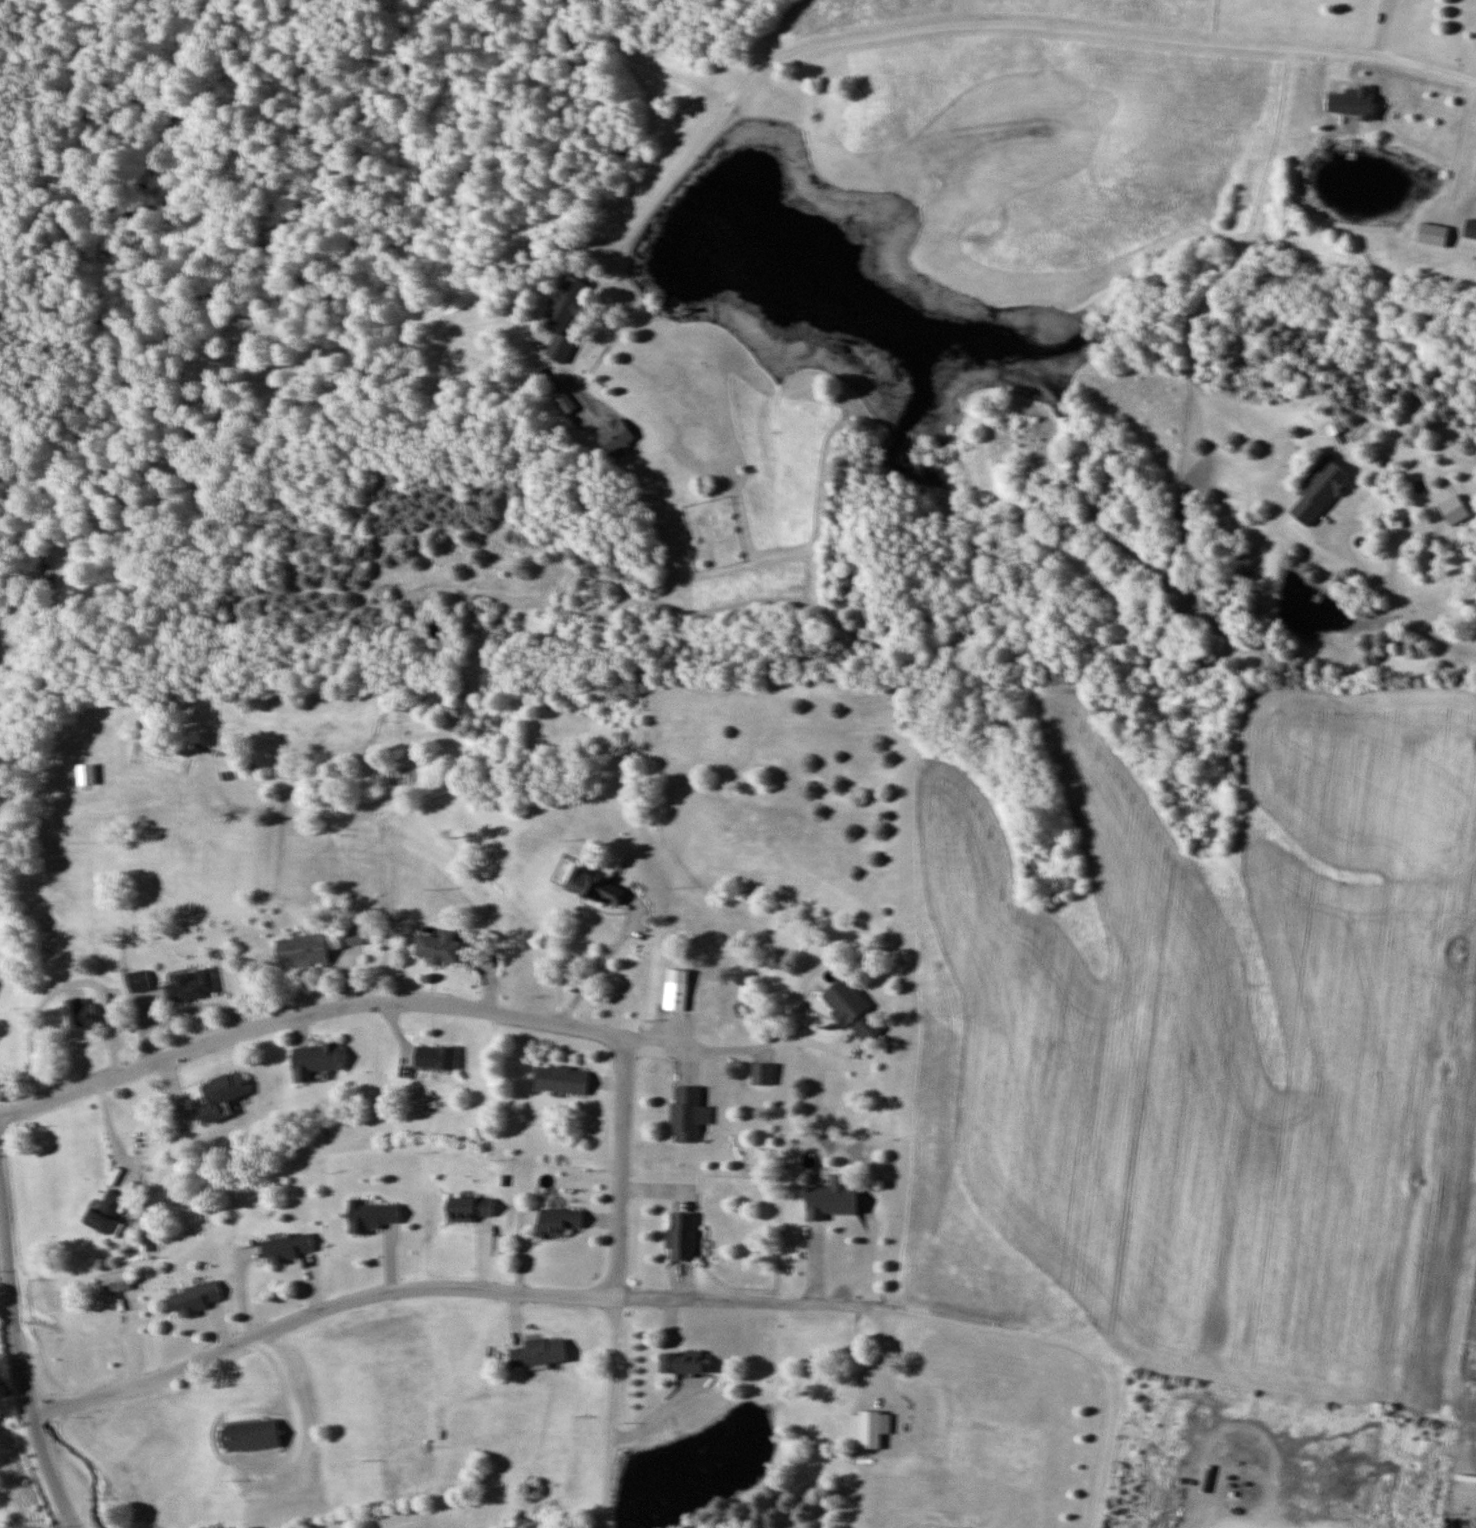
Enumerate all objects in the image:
building: (1353, 101)
road: (680, 172)
building: (1471, 228)
building: (1434, 234)
building: (568, 300)
building: (560, 397)
building: (614, 435)
building: (1320, 493)
building: (847, 579)
road: (192, 754)
building: (596, 887)
building: (352, 936)
building: (439, 948)
building: (302, 951)
building: (139, 981)
building: (192, 986)
building: (677, 990)
building: (853, 1010)
building: (80, 1015)
road: (307, 1021)
road: (662, 1044)
building: (436, 1057)
building: (314, 1061)
building: (763, 1074)
building: (561, 1080)
building: (220, 1096)
building: (688, 1114)
road: (618, 1173)
building: (829, 1201)
building: (468, 1209)
building: (106, 1215)
building: (370, 1216)
building: (558, 1222)
building: (682, 1237)
building: (285, 1248)
building: (113, 1283)
building: (193, 1300)
road: (315, 1309)
road: (944, 1319)
building: (539, 1353)
road: (20, 1362)
building: (682, 1363)
road: (612, 1415)
building: (868, 1429)
building: (250, 1436)

